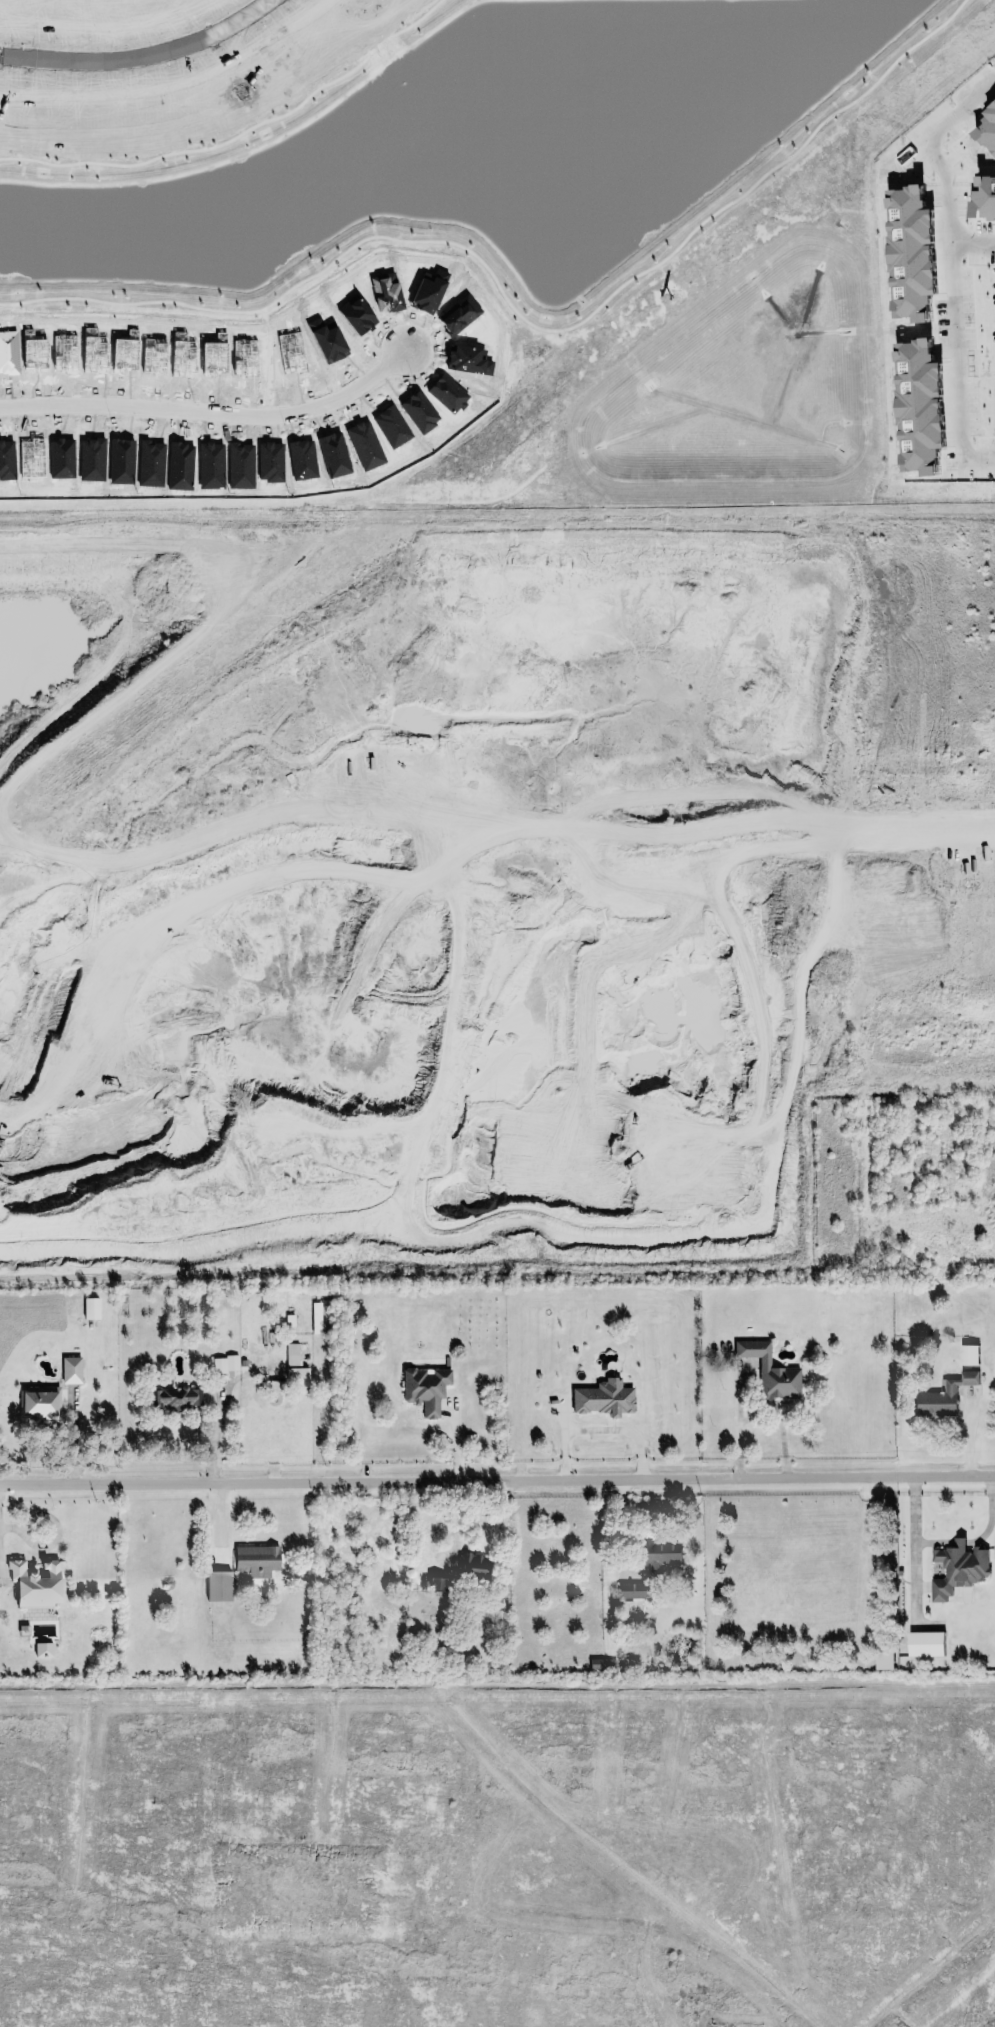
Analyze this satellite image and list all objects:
road: (144, 54)
building: (988, 123)
building: (984, 196)
building: (905, 198)
building: (910, 231)
road: (972, 238)
road: (951, 265)
building: (922, 404)
road: (208, 410)
road: (721, 823)
quarry: (479, 882)
building: (91, 1307)
building: (969, 1354)
building: (294, 1361)
building: (225, 1363)
building: (70, 1369)
building: (770, 1370)
building: (425, 1388)
building: (943, 1395)
building: (173, 1397)
building: (601, 1397)
building: (38, 1402)
road: (600, 1428)
road: (497, 1470)
road: (987, 1510)
road: (910, 1525)
road: (959, 1540)
building: (660, 1554)
building: (254, 1560)
building: (471, 1563)
building: (957, 1568)
building: (33, 1580)
building: (436, 1583)
building: (218, 1586)
building: (629, 1591)
building: (925, 1643)
building: (43, 1649)
building: (884, 1659)

